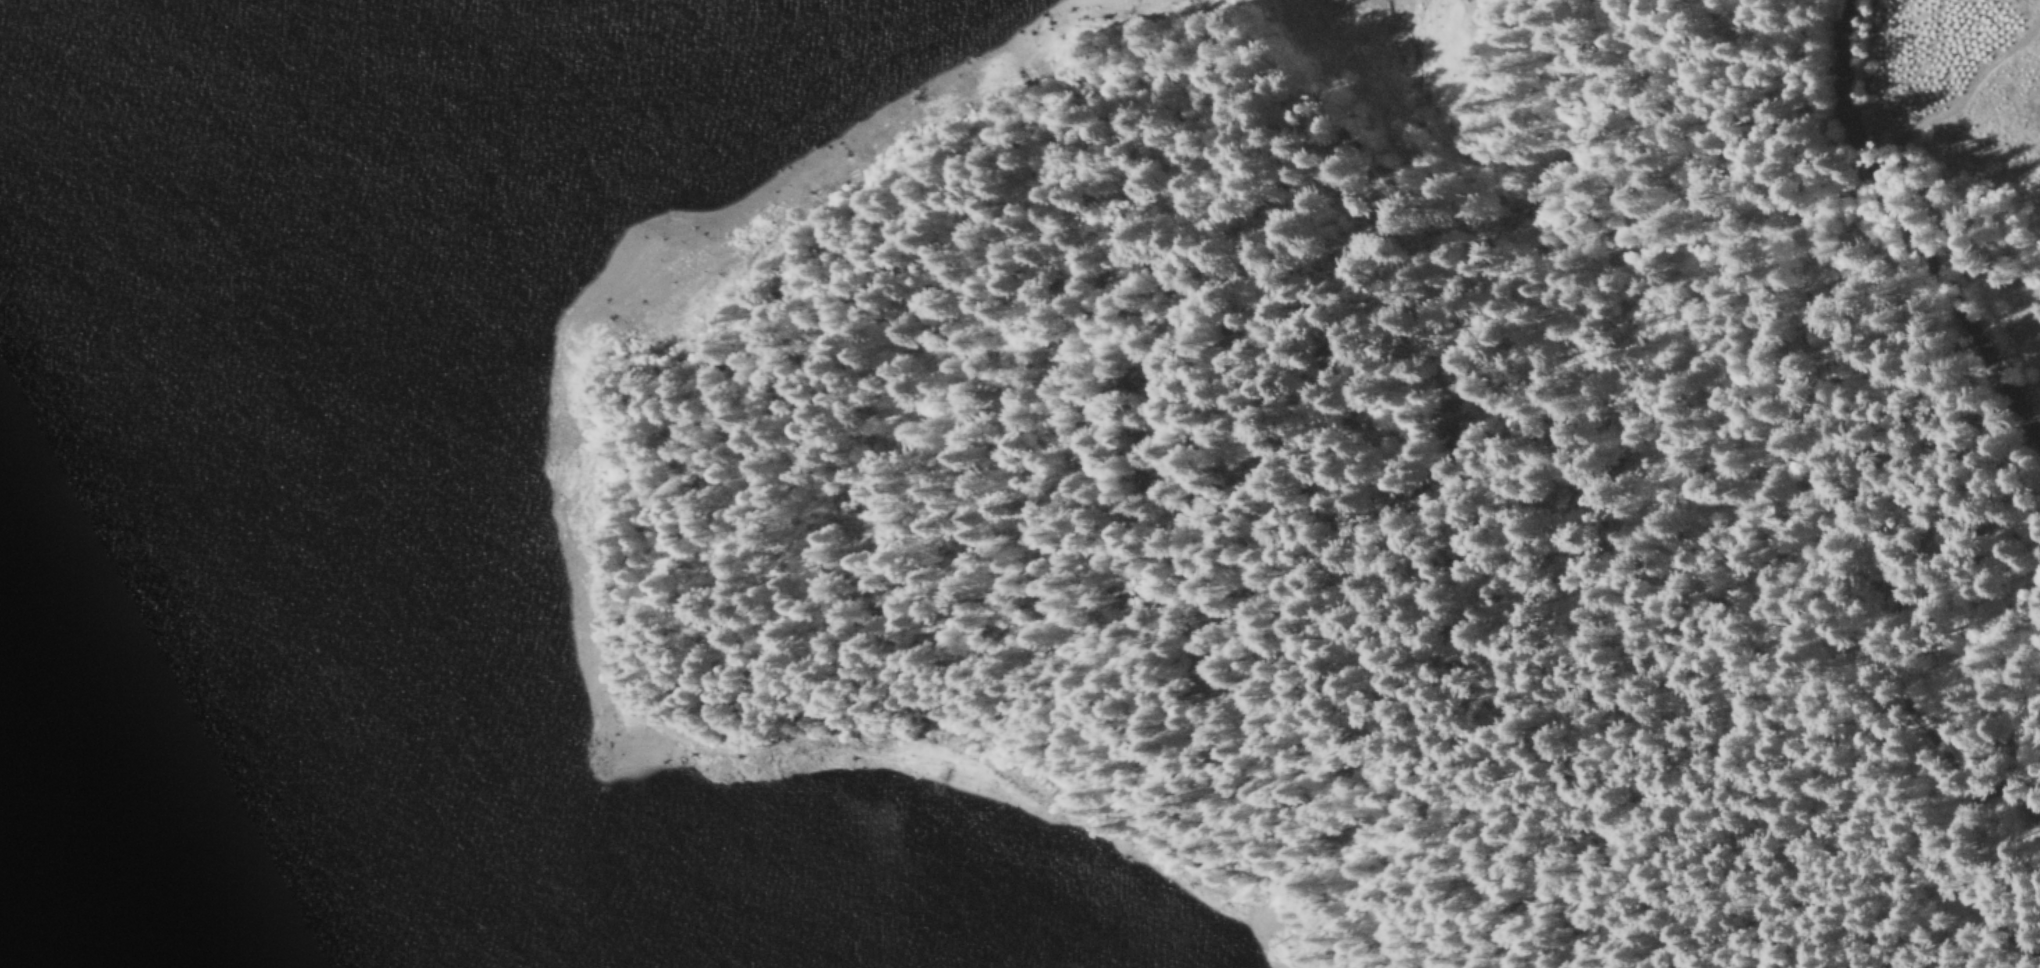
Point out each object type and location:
road: (1906, 230)

